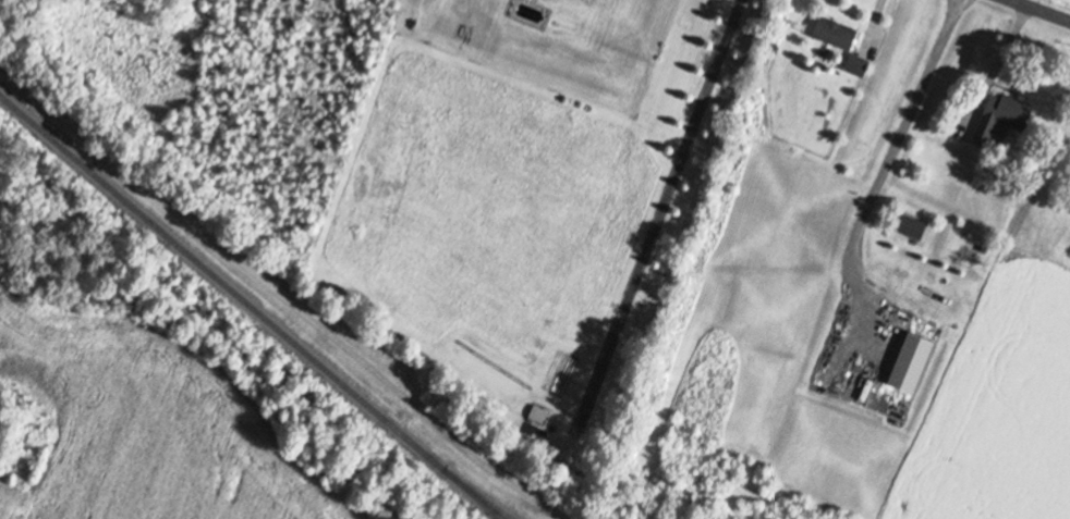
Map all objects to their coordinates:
road: (1045, 9)
railway: (250, 308)
railway: (477, 495)

